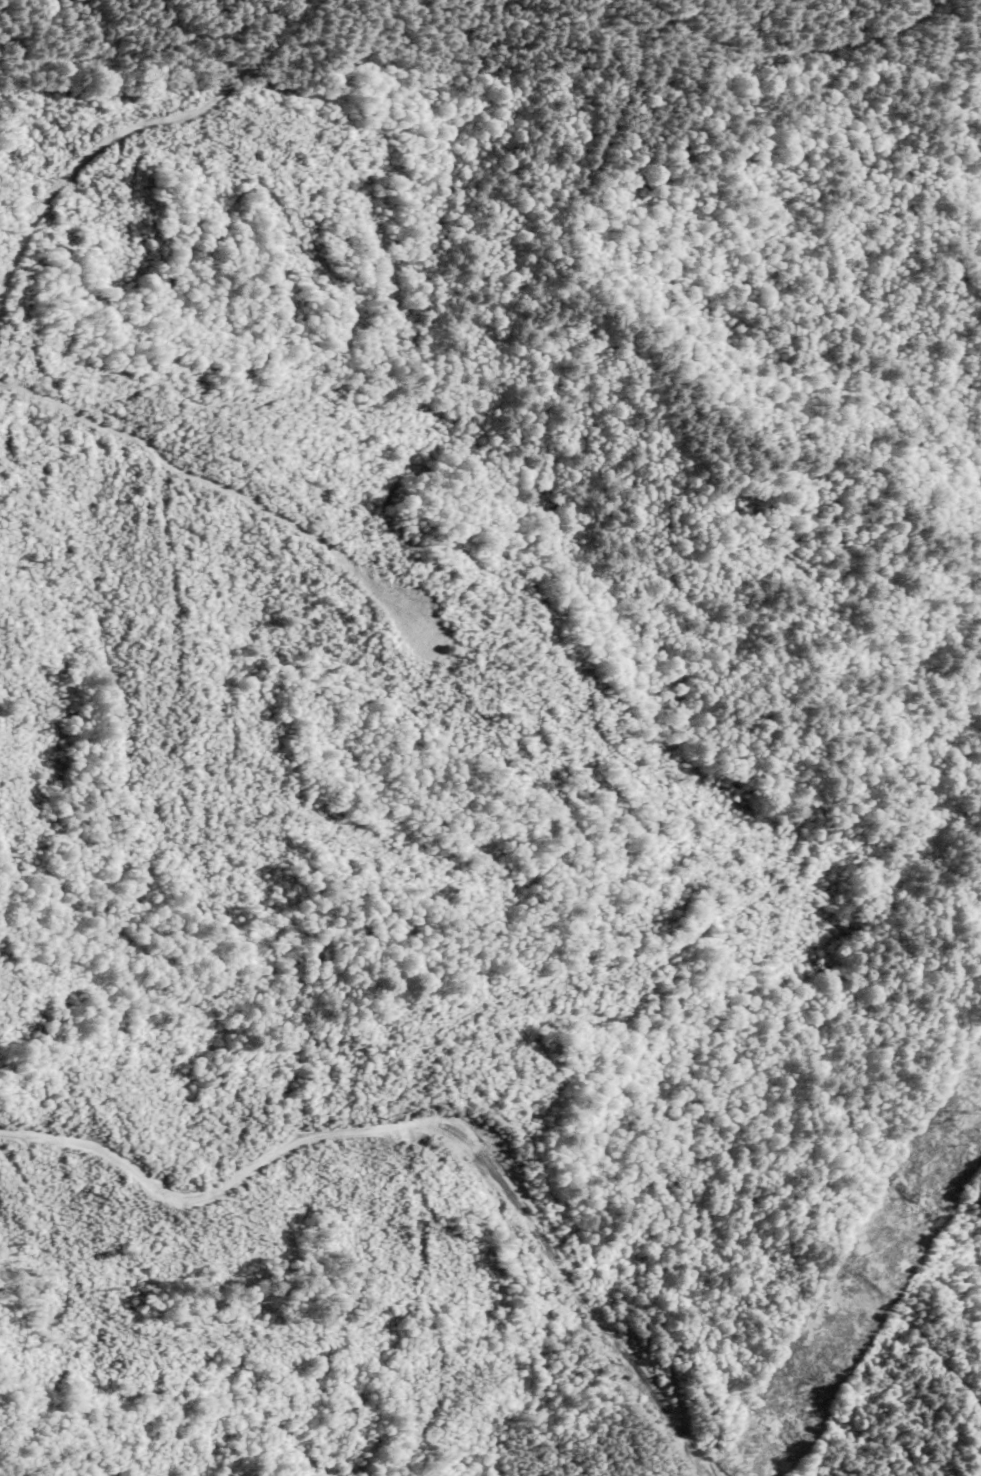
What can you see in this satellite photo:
power tower: (964, 1113)

